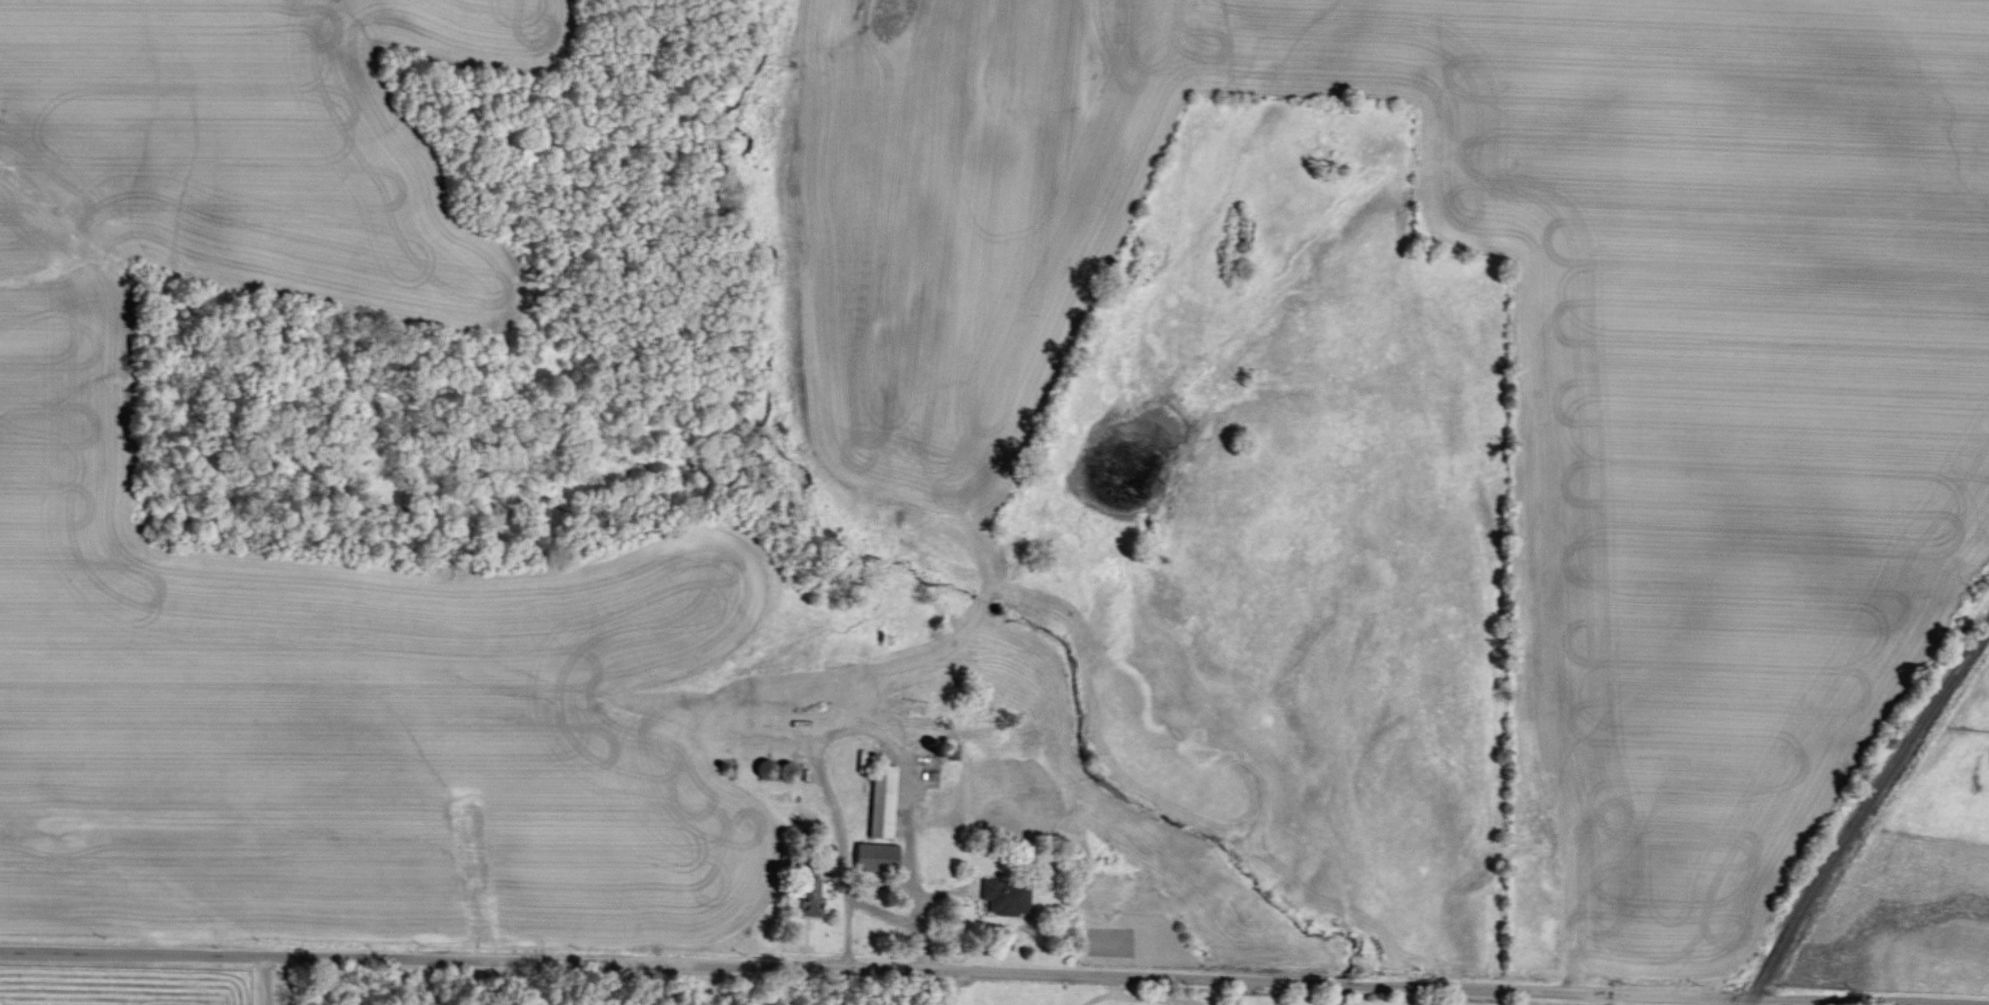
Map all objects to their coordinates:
road: (856, 726)
building: (885, 803)
railway: (1863, 810)
building: (878, 856)
building: (1007, 896)
building: (814, 899)
road: (883, 913)
road: (944, 962)
road: (265, 980)
road: (940, 983)

